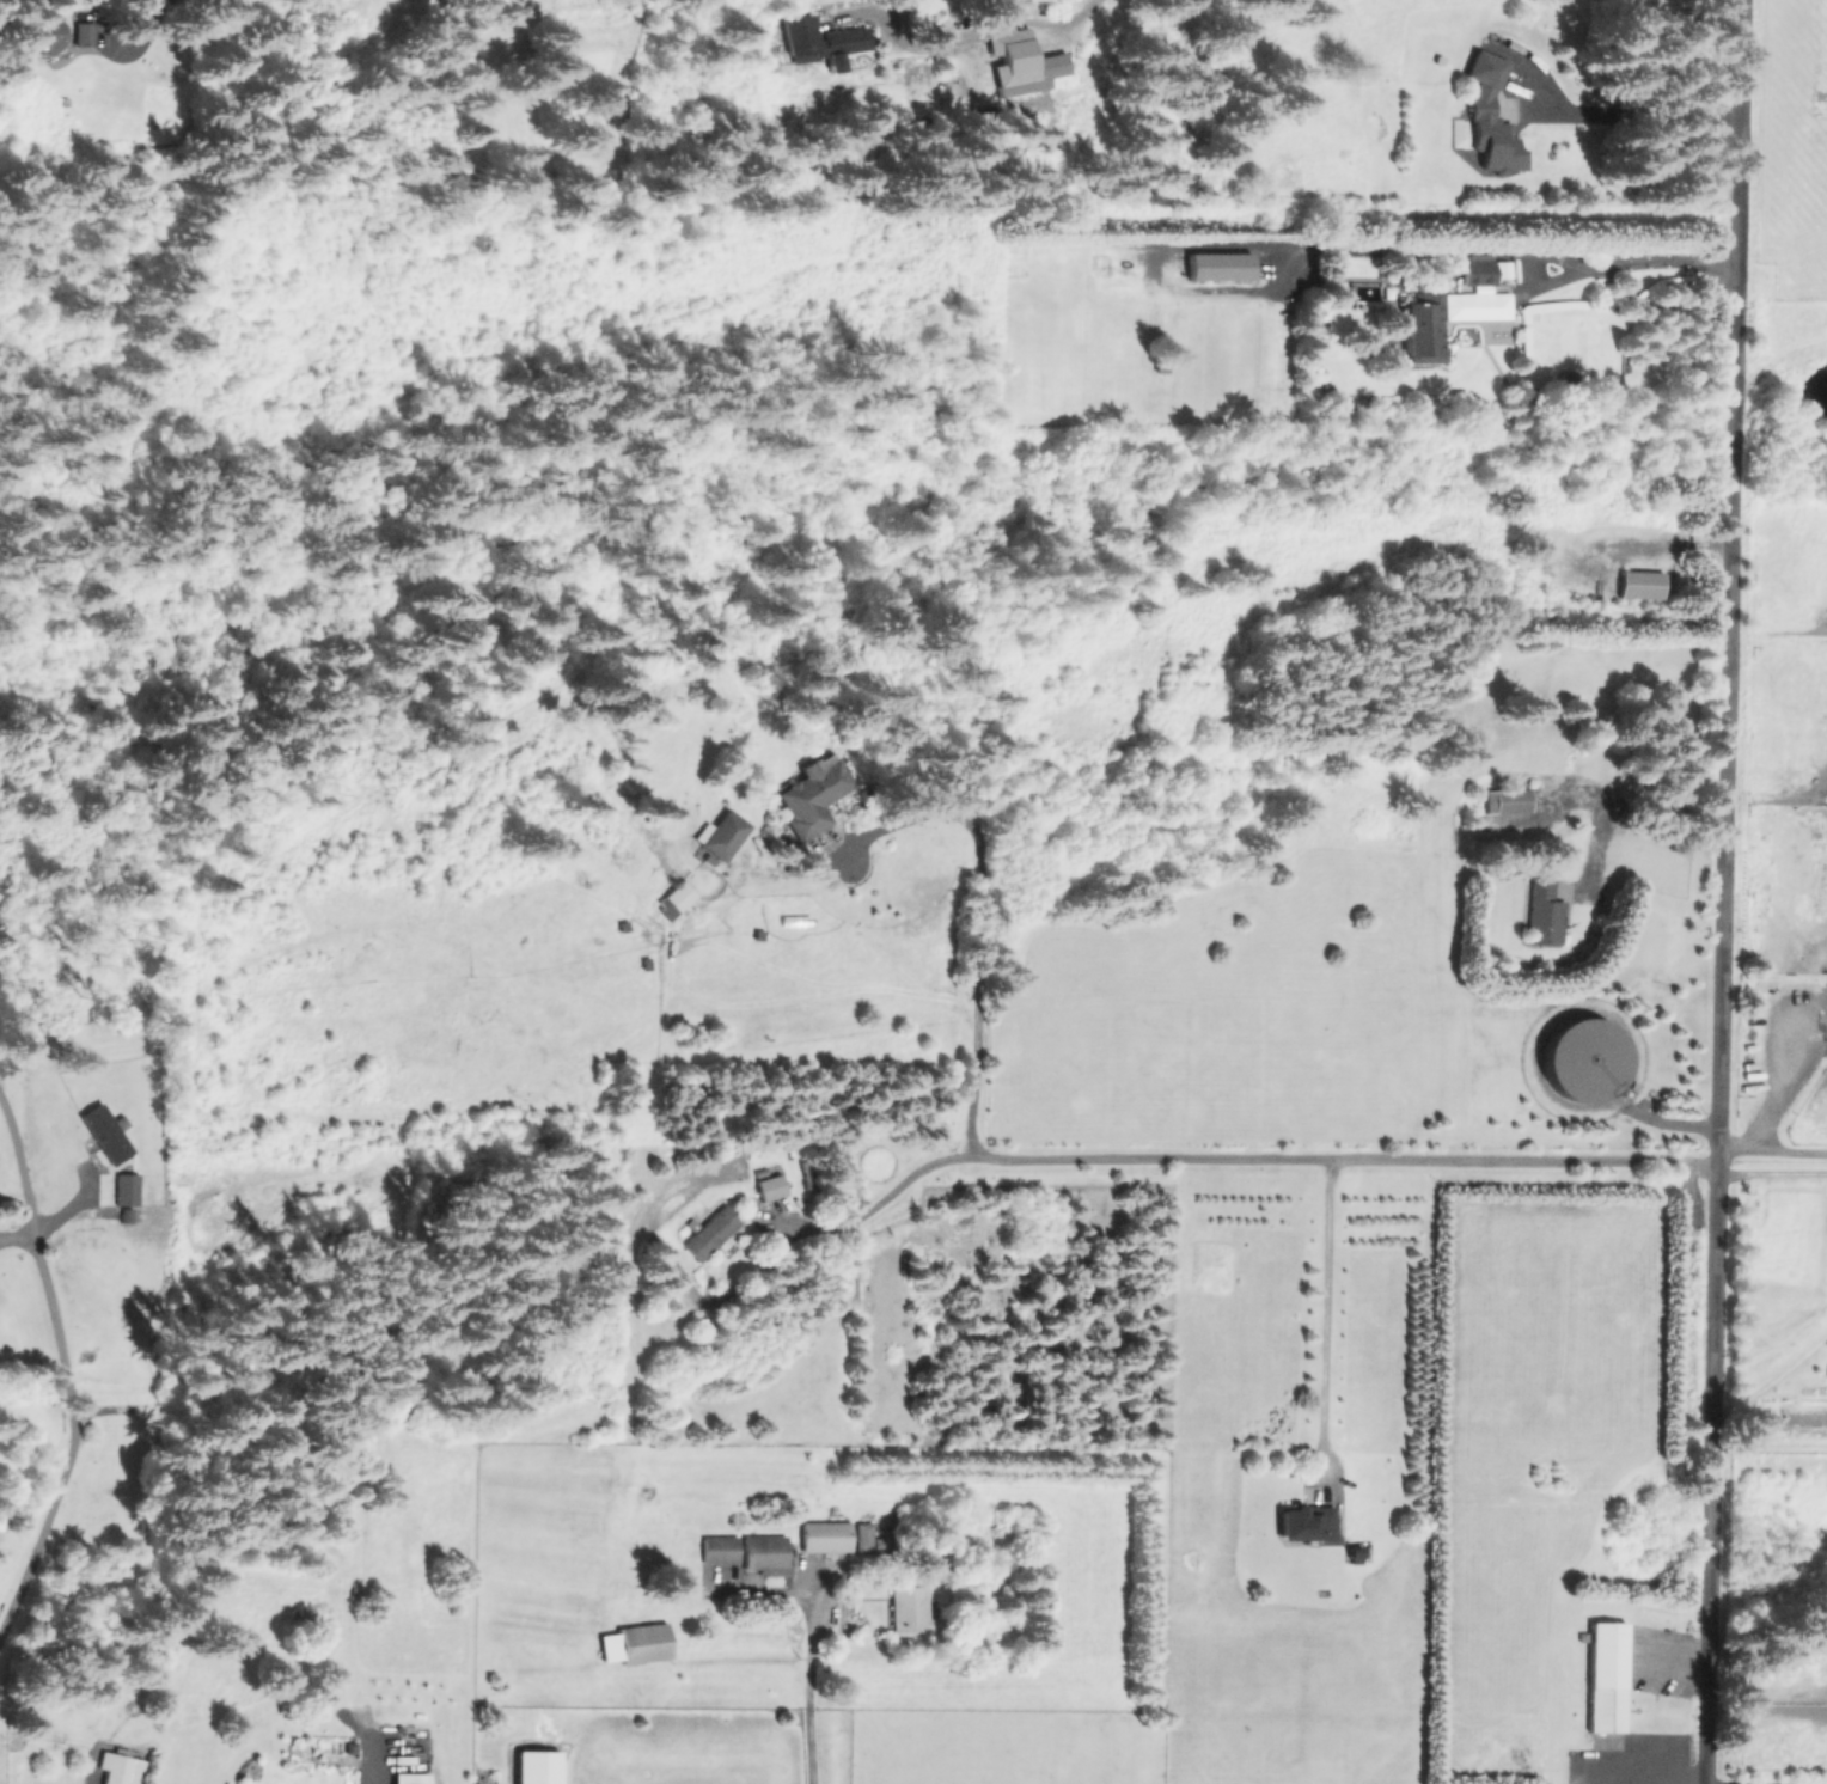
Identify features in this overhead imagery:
road: (969, 32)
building: (59, 37)
building: (821, 43)
building: (1024, 66)
building: (1490, 118)
road: (1631, 123)
road: (1501, 248)
building: (1218, 268)
building: (1478, 270)
building: (1423, 329)
road: (1627, 543)
building: (1639, 586)
building: (813, 798)
building: (1505, 804)
building: (722, 837)
road: (1723, 892)
building: (677, 898)
building: (1542, 918)
road: (980, 924)
road: (1773, 1150)
road: (1349, 1157)
road: (16, 1171)
road: (1772, 1174)
building: (769, 1187)
road: (880, 1196)
building: (709, 1234)
road: (16, 1239)
road: (1324, 1308)
road: (71, 1435)
building: (1303, 1523)
building: (823, 1538)
building: (717, 1551)
building: (763, 1554)
building: (906, 1611)
building: (633, 1644)
building: (1606, 1676)
road: (807, 1694)
building: (540, 1765)
building: (118, 1768)
road: (1765, 1779)

